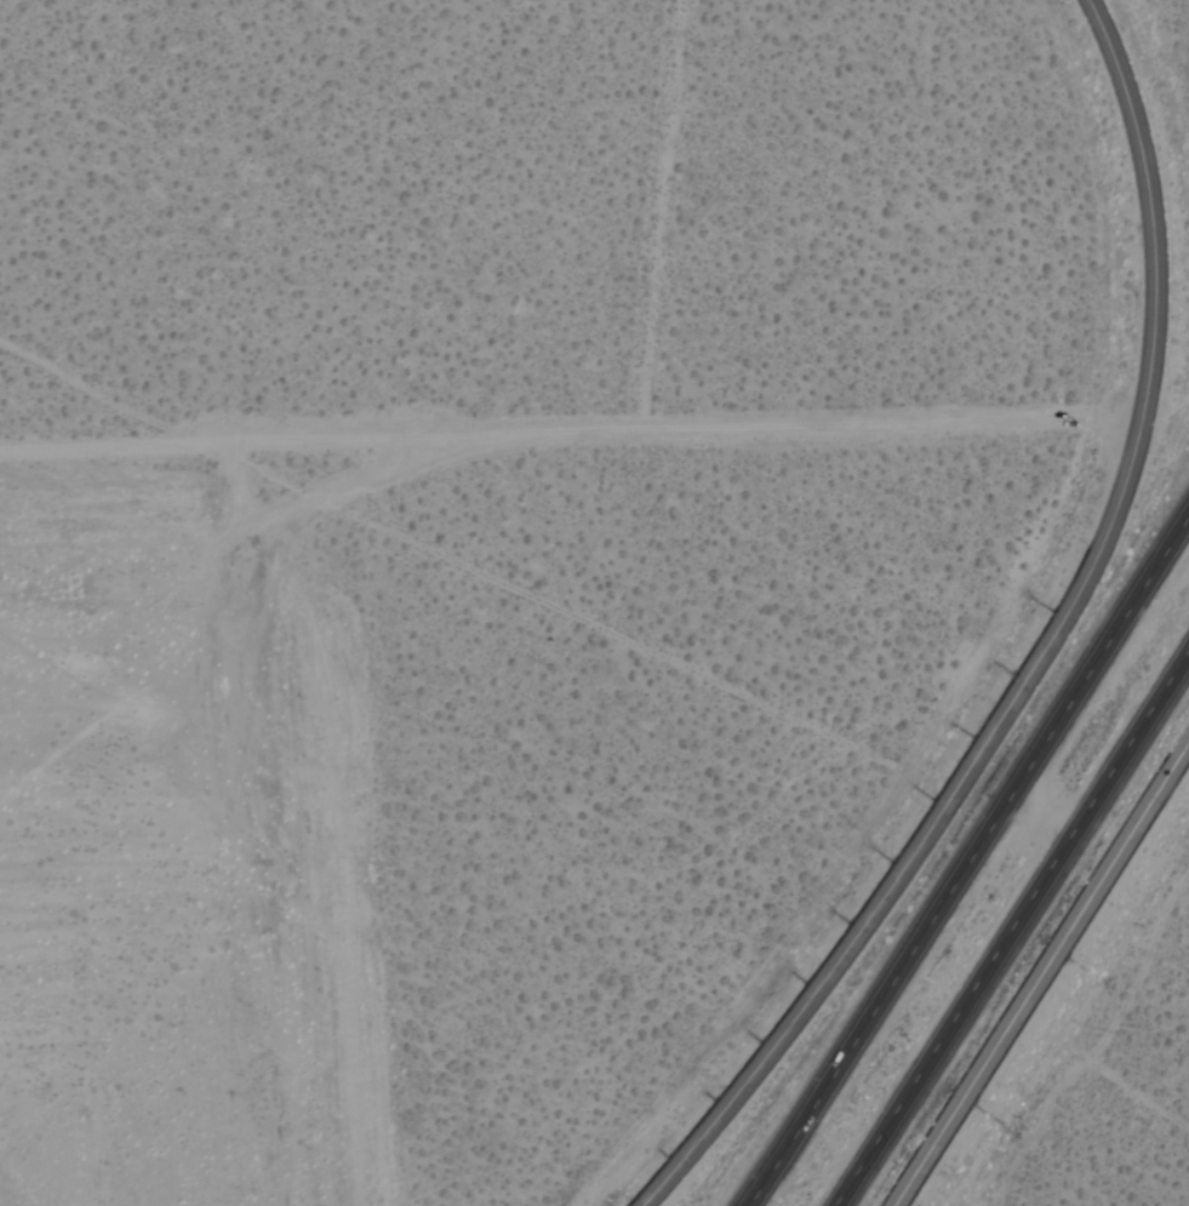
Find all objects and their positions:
road: (659, 215)
road: (575, 431)
road: (1045, 651)
road: (968, 857)
road: (1011, 925)
road: (1040, 974)

